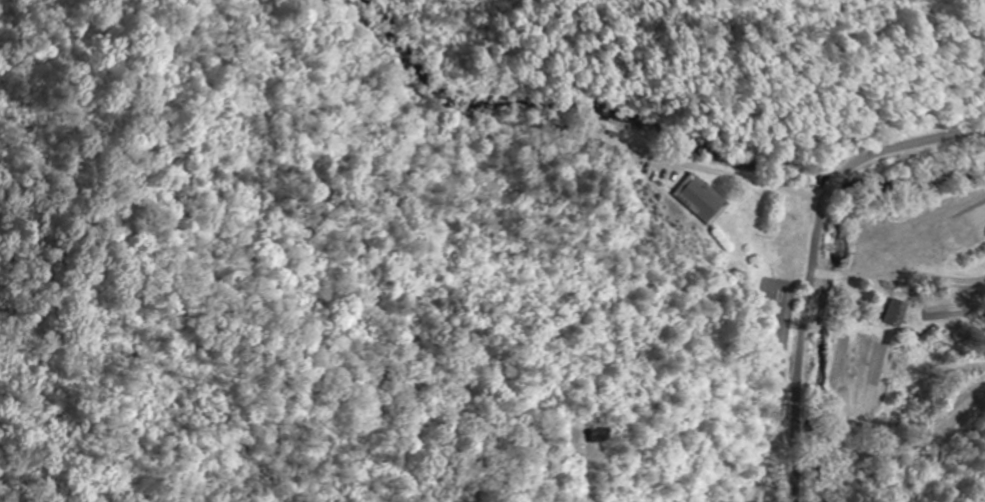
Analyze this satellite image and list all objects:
road: (909, 141)
road: (835, 183)
river: (919, 186)
building: (702, 199)
road: (821, 217)
road: (770, 270)
building: (898, 312)
road: (802, 372)
road: (721, 375)

